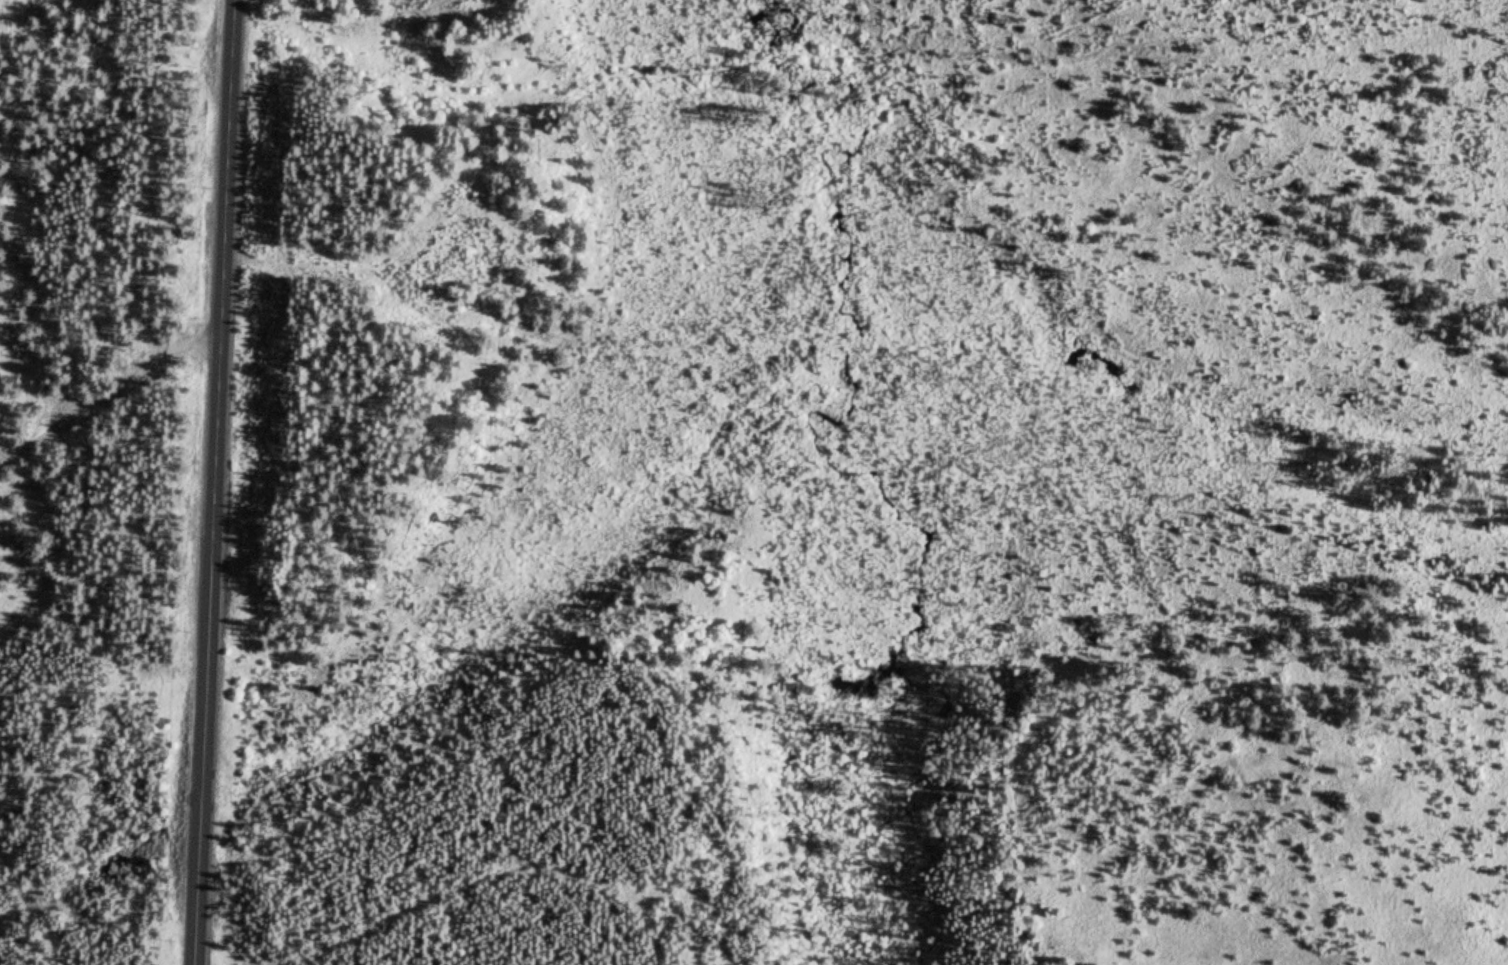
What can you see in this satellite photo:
road: (106, 394)
road: (206, 482)
road: (96, 879)

